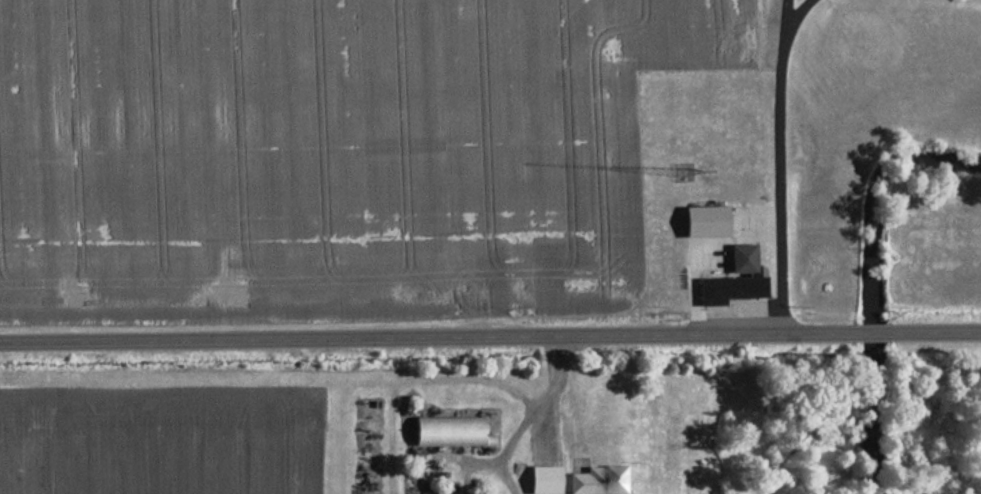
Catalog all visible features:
crop: (331, 154)
road: (780, 164)
building: (700, 222)
building: (739, 261)
building: (725, 290)
road: (490, 343)
building: (446, 431)
crop: (169, 436)
building: (540, 479)
building: (594, 480)

